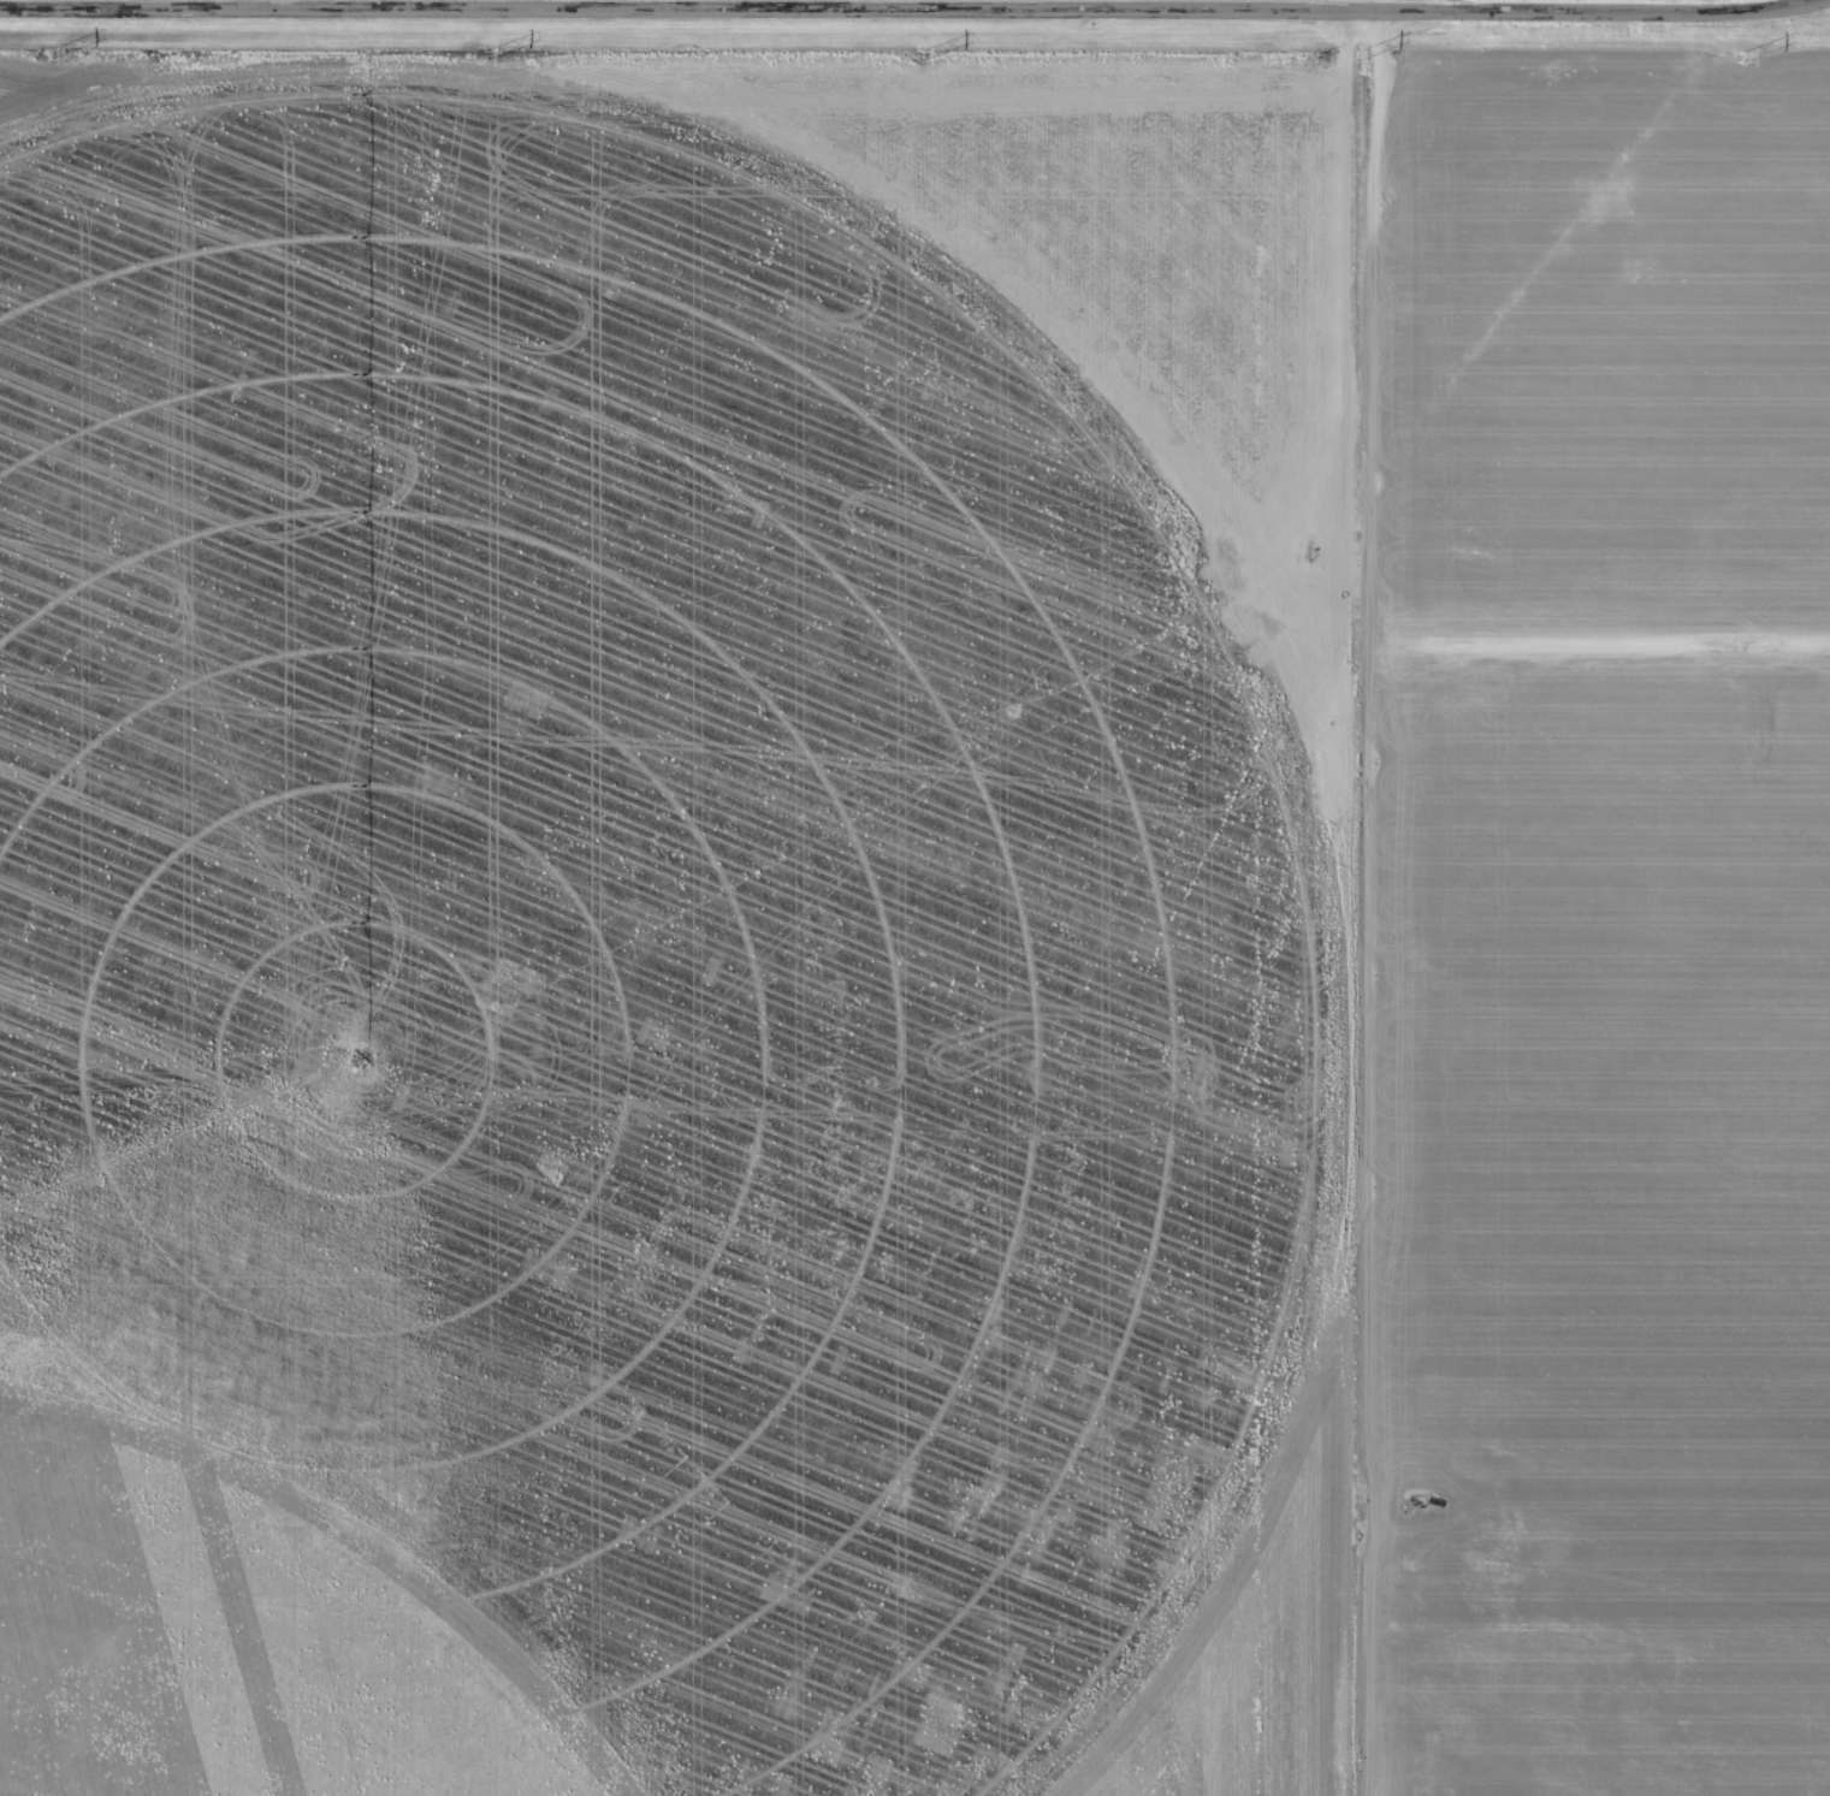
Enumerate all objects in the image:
road: (913, 11)
power tower: (47, 55)
power tower: (486, 57)
power tower: (919, 57)
power tower: (1717, 60)
road: (1378, 191)
wind turbine: (1469, 671)

